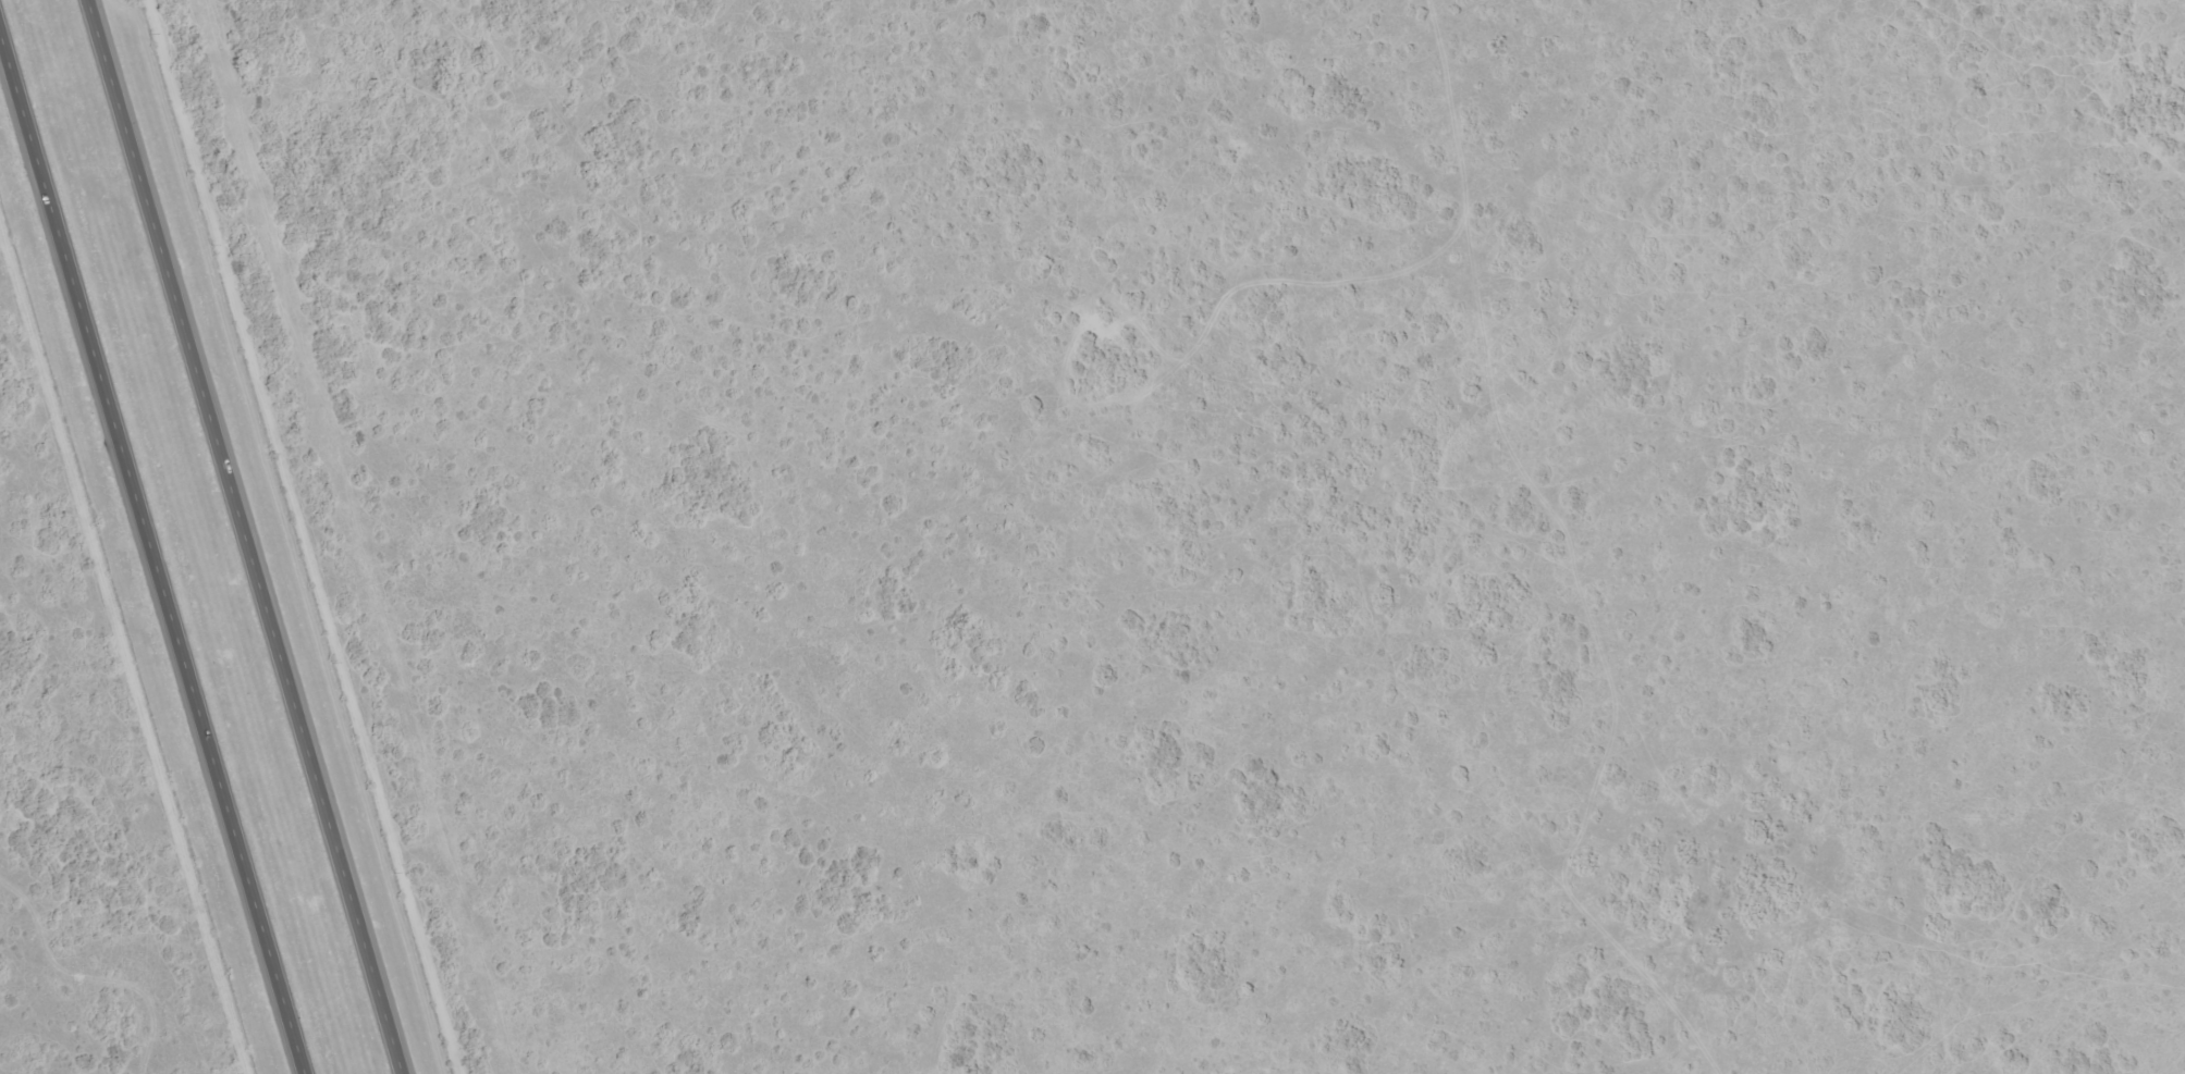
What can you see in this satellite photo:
road: (250, 536)
road: (154, 545)

